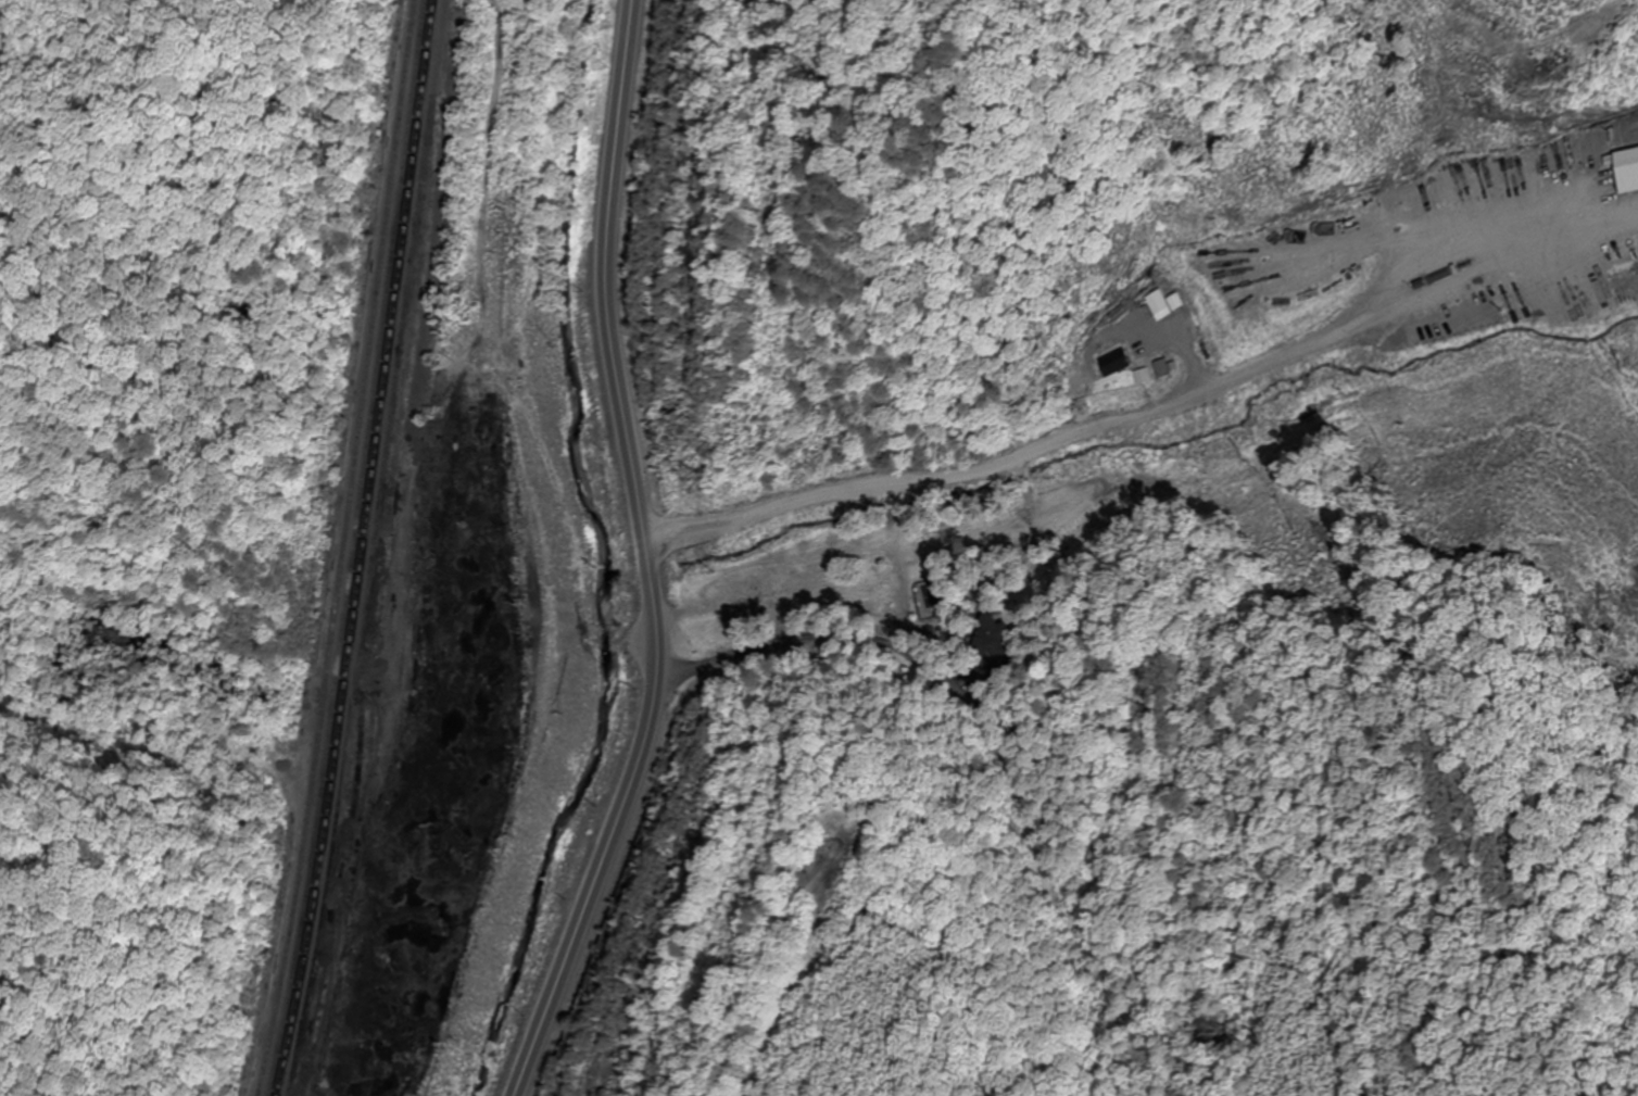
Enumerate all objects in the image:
building: (1626, 148)
building: (1161, 306)
building: (1113, 360)
building: (1083, 387)
road: (1148, 413)
railway: (412, 487)
railway: (398, 520)
railway: (343, 549)
railway: (352, 549)
railway: (363, 549)
railway: (374, 549)
road: (646, 557)
railway: (376, 597)
building: (995, 639)
railway: (313, 1072)

